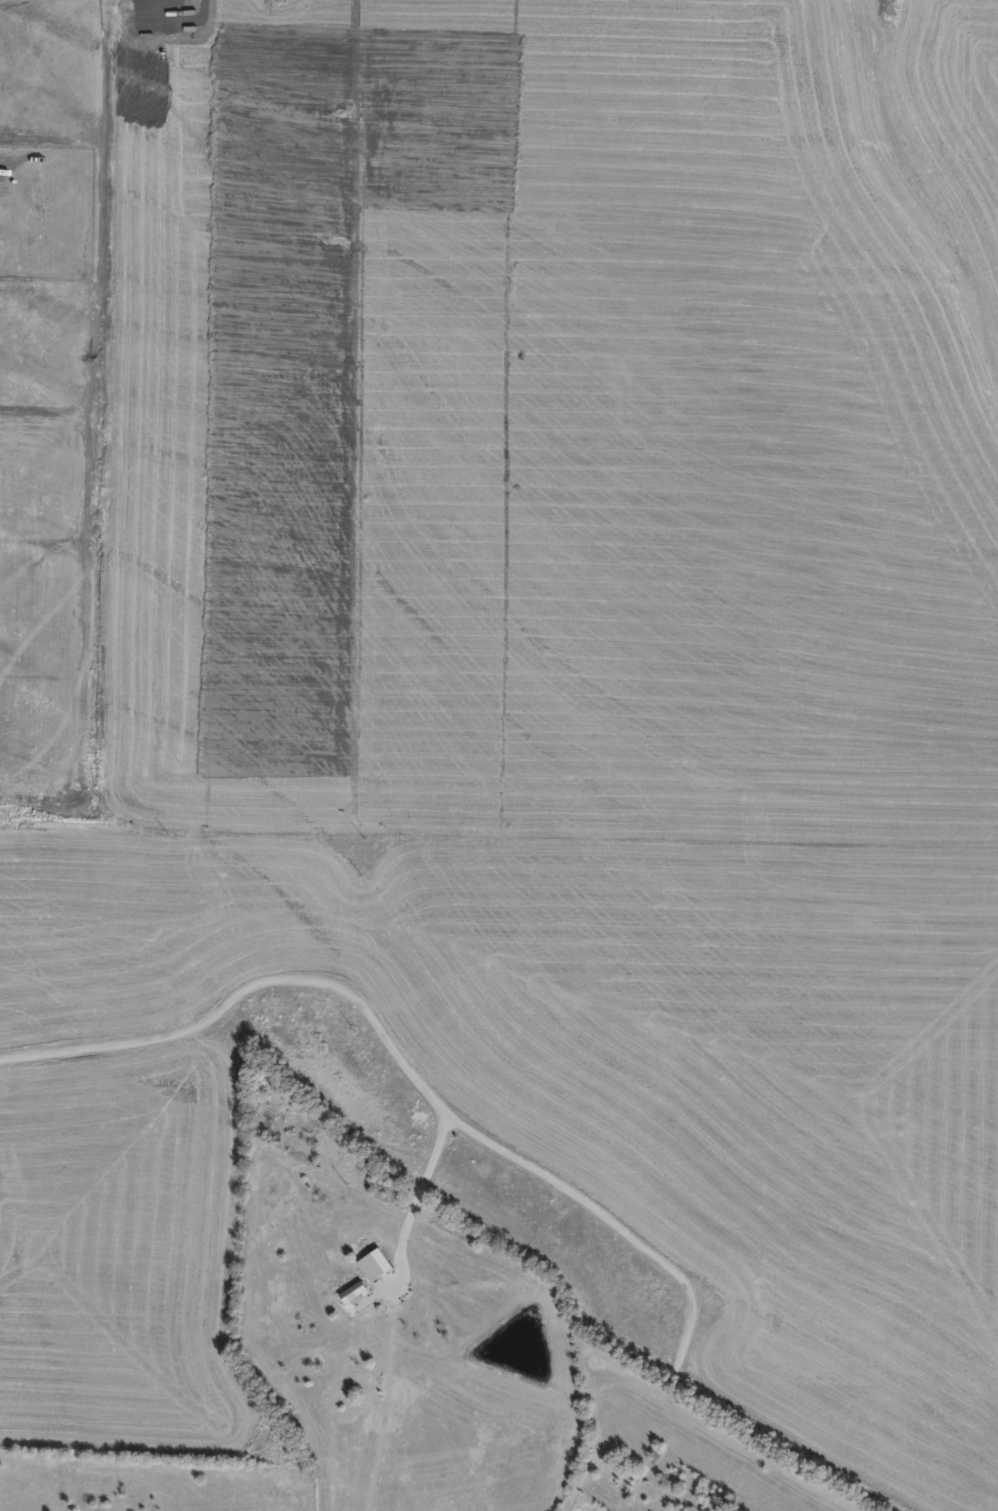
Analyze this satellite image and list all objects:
power tower: (890, 6)
road: (328, 991)

